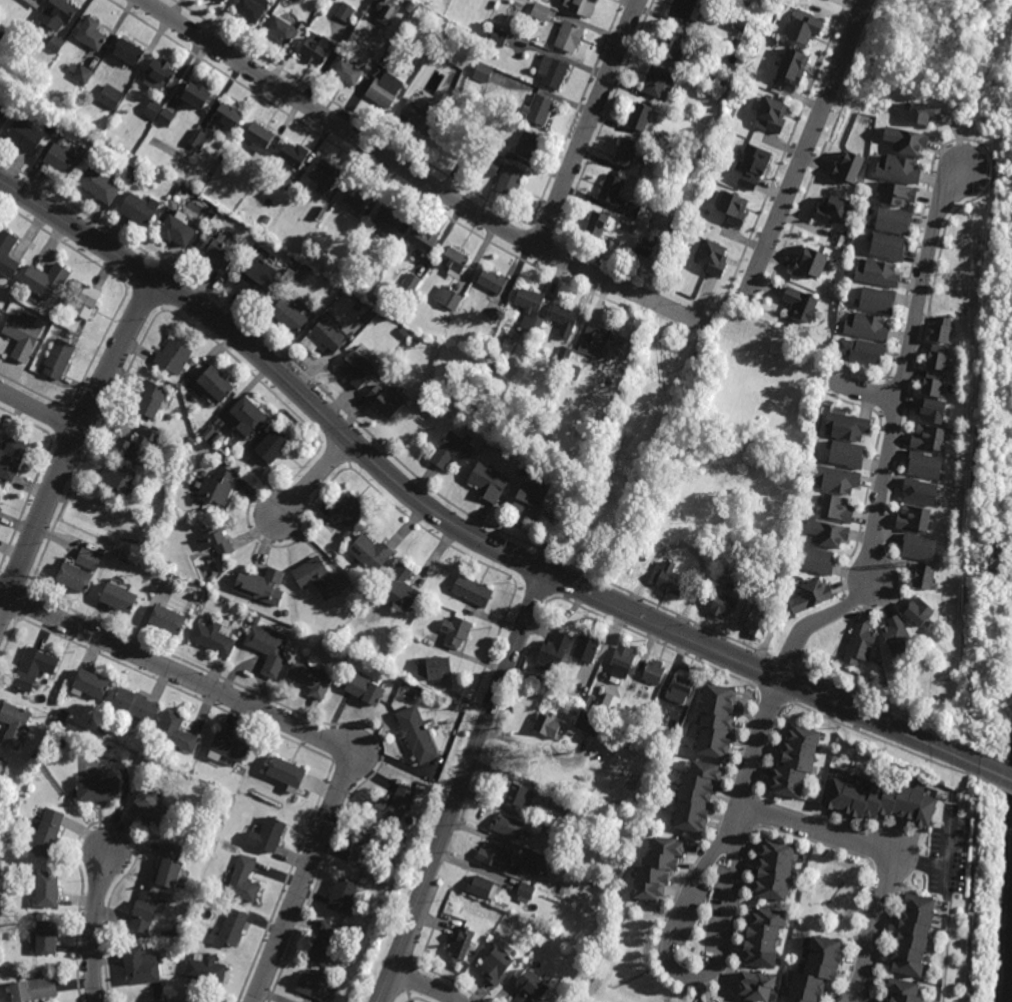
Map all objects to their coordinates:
building: (214, 0)
building: (222, 1)
building: (32, 4)
building: (413, 4)
building: (584, 5)
building: (543, 8)
building: (686, 8)
building: (253, 9)
building: (344, 11)
building: (388, 11)
building: (56, 13)
building: (806, 28)
building: (283, 29)
building: (91, 33)
building: (498, 33)
building: (572, 34)
building: (737, 42)
building: (56, 44)
building: (673, 44)
building: (318, 47)
building: (397, 49)
building: (129, 52)
building: (726, 53)
building: (794, 65)
building: (555, 69)
building: (348, 70)
building: (485, 70)
building: (83, 74)
building: (159, 74)
building: (659, 79)
building: (387, 81)
building: (717, 81)
building: (197, 93)
building: (110, 98)
power tower: (1008, 98)
building: (4, 107)
building: (541, 107)
building: (152, 112)
building: (924, 112)
building: (230, 115)
building: (643, 115)
building: (771, 115)
building: (422, 116)
building: (167, 117)
road: (588, 124)
building: (25, 134)
road: (789, 135)
building: (260, 137)
building: (201, 139)
building: (908, 139)
building: (530, 143)
building: (677, 143)
road: (804, 147)
building: (629, 151)
building: (295, 154)
building: (63, 159)
building: (678, 162)
building: (746, 163)
building: (492, 164)
building: (848, 167)
building: (900, 169)
building: (129, 171)
building: (634, 174)
building: (324, 175)
road: (414, 176)
building: (137, 177)
building: (511, 179)
building: (101, 184)
building: (613, 187)
building: (895, 193)
building: (357, 197)
building: (674, 202)
building: (733, 207)
building: (140, 209)
building: (632, 210)
building: (833, 210)
building: (321, 213)
building: (209, 214)
building: (267, 219)
building: (388, 220)
building: (676, 220)
building: (895, 220)
building: (598, 224)
building: (178, 229)
building: (424, 238)
building: (890, 246)
building: (645, 247)
building: (220, 253)
building: (8, 254)
building: (713, 258)
road: (603, 260)
building: (455, 261)
building: (811, 263)
building: (306, 269)
road: (743, 273)
building: (878, 273)
building: (261, 277)
building: (45, 280)
building: (493, 280)
building: (412, 283)
road: (668, 291)
building: (804, 296)
building: (449, 298)
road: (722, 298)
road: (686, 299)
building: (879, 300)
building: (88, 302)
building: (14, 305)
building: (70, 306)
building: (358, 306)
building: (531, 309)
building: (1, 310)
building: (495, 310)
road: (694, 312)
building: (291, 315)
building: (565, 320)
building: (867, 326)
building: (943, 328)
building: (405, 333)
building: (22, 336)
building: (325, 340)
building: (603, 343)
building: (863, 351)
building: (565, 354)
building: (696, 355)
building: (173, 357)
building: (939, 357)
building: (59, 359)
building: (356, 368)
building: (35, 369)
building: (574, 372)
building: (217, 384)
building: (934, 384)
road: (865, 391)
building: (387, 399)
building: (151, 400)
road: (40, 411)
building: (933, 411)
building: (251, 415)
building: (848, 427)
road: (890, 437)
building: (929, 439)
building: (189, 440)
building: (140, 446)
building: (274, 446)
road: (74, 447)
building: (453, 452)
road: (633, 453)
building: (849, 456)
building: (12, 459)
building: (926, 466)
building: (528, 469)
road: (316, 477)
building: (118, 478)
building: (838, 481)
building: (489, 482)
building: (219, 487)
building: (920, 494)
building: (533, 501)
building: (838, 511)
building: (1, 512)
building: (346, 514)
building: (915, 521)
road: (454, 527)
building: (828, 534)
building: (347, 539)
building: (216, 540)
building: (919, 549)
building: (372, 554)
building: (818, 562)
power tower: (973, 562)
building: (80, 573)
building: (925, 578)
building: (318, 579)
building: (670, 580)
building: (262, 587)
building: (402, 589)
building: (473, 592)
building: (811, 598)
building: (119, 600)
building: (723, 606)
building: (919, 613)
building: (286, 614)
building: (257, 620)
building: (168, 622)
building: (759, 622)
building: (457, 633)
building: (215, 639)
building: (899, 640)
building: (862, 646)
building: (589, 650)
building: (269, 653)
building: (555, 654)
building: (623, 664)
building: (435, 670)
building: (31, 672)
building: (655, 672)
building: (311, 680)
building: (89, 685)
building: (548, 686)
building: (680, 687)
building: (366, 688)
building: (136, 702)
building: (612, 702)
building: (595, 703)
building: (624, 713)
building: (657, 715)
building: (59, 719)
building: (716, 719)
building: (548, 722)
building: (592, 722)
building: (15, 724)
road: (294, 727)
building: (177, 730)
building: (417, 732)
building: (229, 746)
road: (755, 753)
building: (797, 759)
building: (1, 762)
road: (995, 769)
building: (287, 770)
building: (98, 787)
road: (462, 787)
building: (696, 794)
building: (523, 795)
building: (883, 799)
building: (394, 804)
building: (155, 805)
building: (575, 807)
building: (597, 811)
building: (510, 826)
building: (552, 828)
building: (47, 831)
building: (269, 834)
building: (363, 847)
road: (889, 850)
building: (497, 856)
building: (534, 859)
building: (170, 865)
building: (658, 866)
building: (775, 870)
building: (245, 879)
building: (482, 887)
building: (47, 888)
building: (526, 892)
building: (343, 895)
building: (145, 911)
building: (234, 927)
road: (92, 929)
railway: (1008, 931)
building: (173, 933)
building: (915, 934)
building: (46, 936)
building: (764, 937)
building: (325, 943)
building: (461, 943)
building: (497, 965)
building: (140, 967)
building: (206, 968)
building: (817, 970)
road: (682, 977)
railway: (1010, 981)
road: (424, 984)
building: (532, 986)
building: (757, 986)
building: (316, 987)
building: (34, 989)
building: (905, 990)

